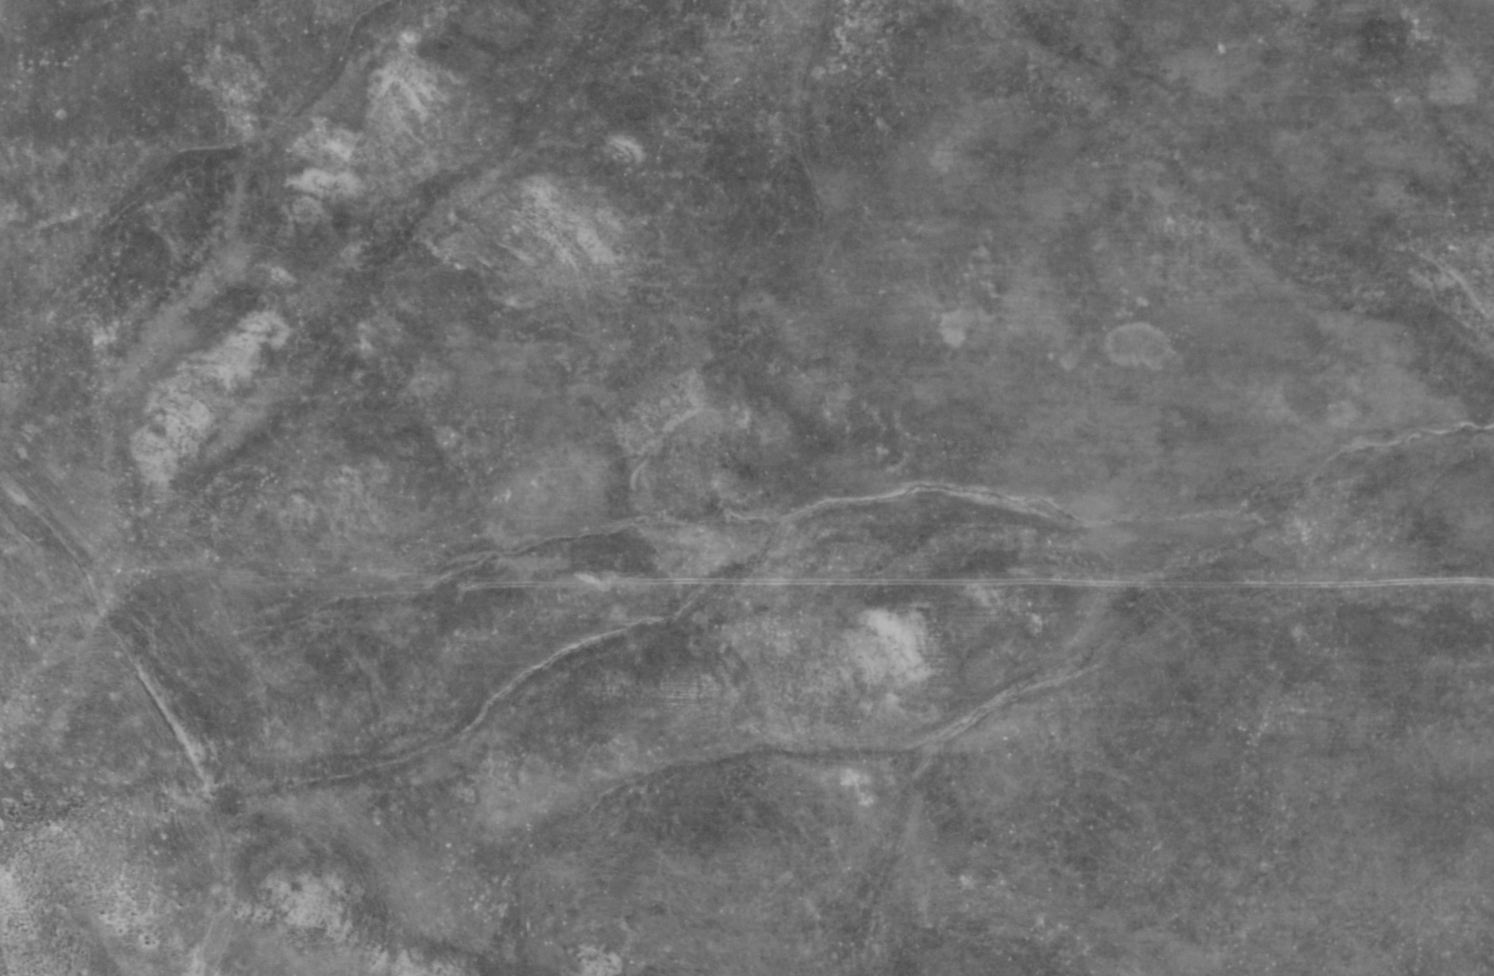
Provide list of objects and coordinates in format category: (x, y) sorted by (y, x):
solar farm: (770, 767)

